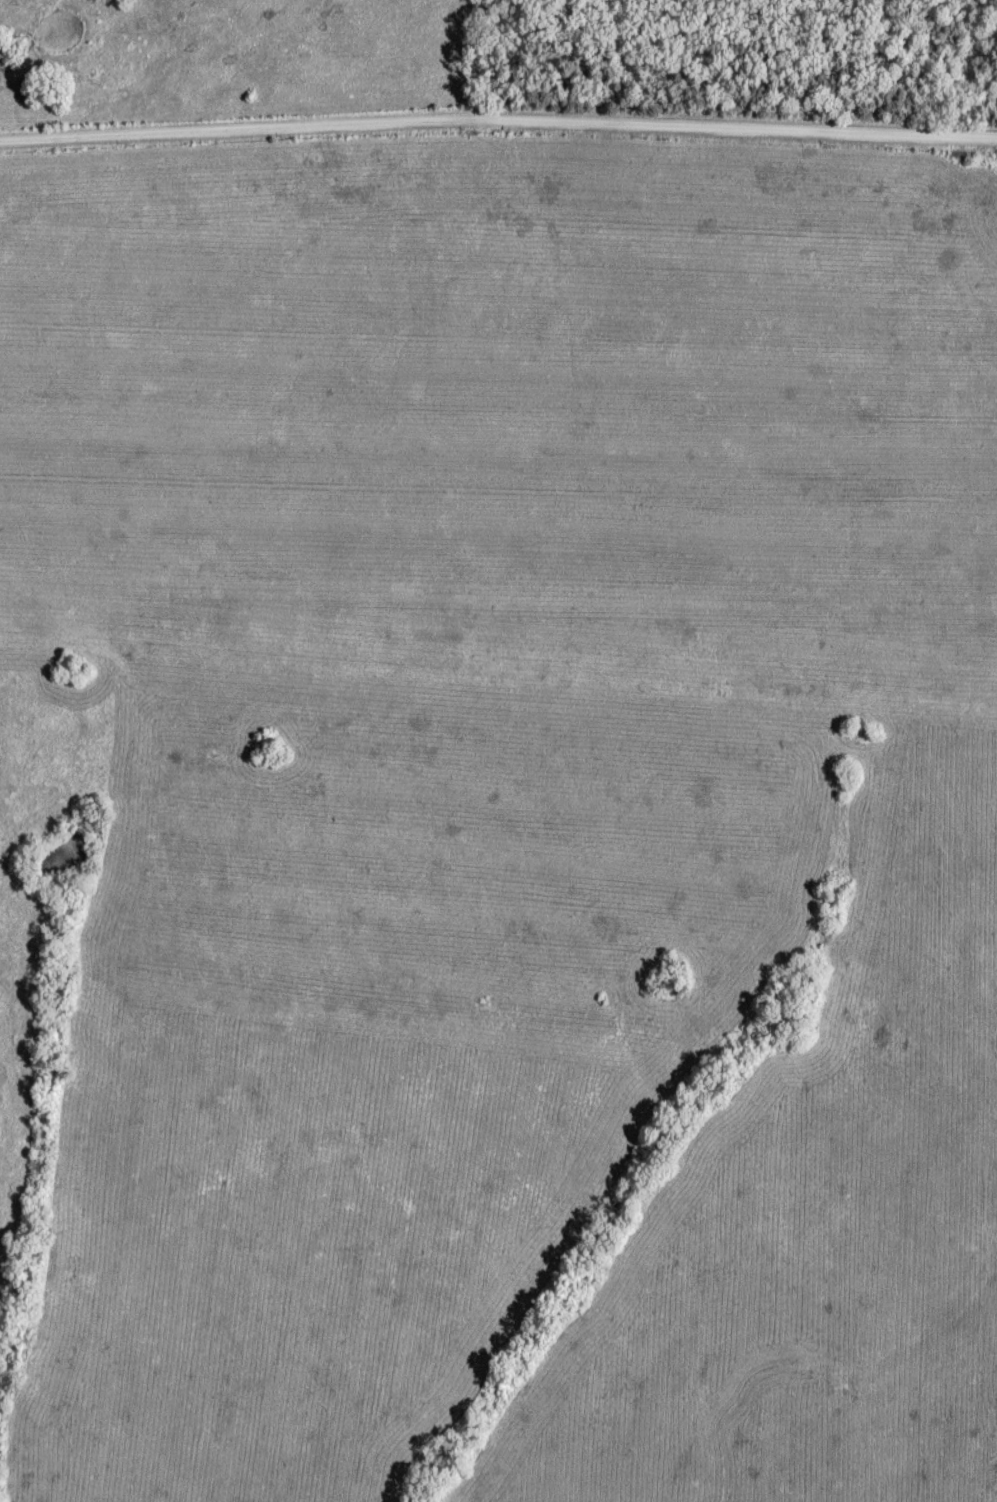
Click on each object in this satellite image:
road: (498, 120)

